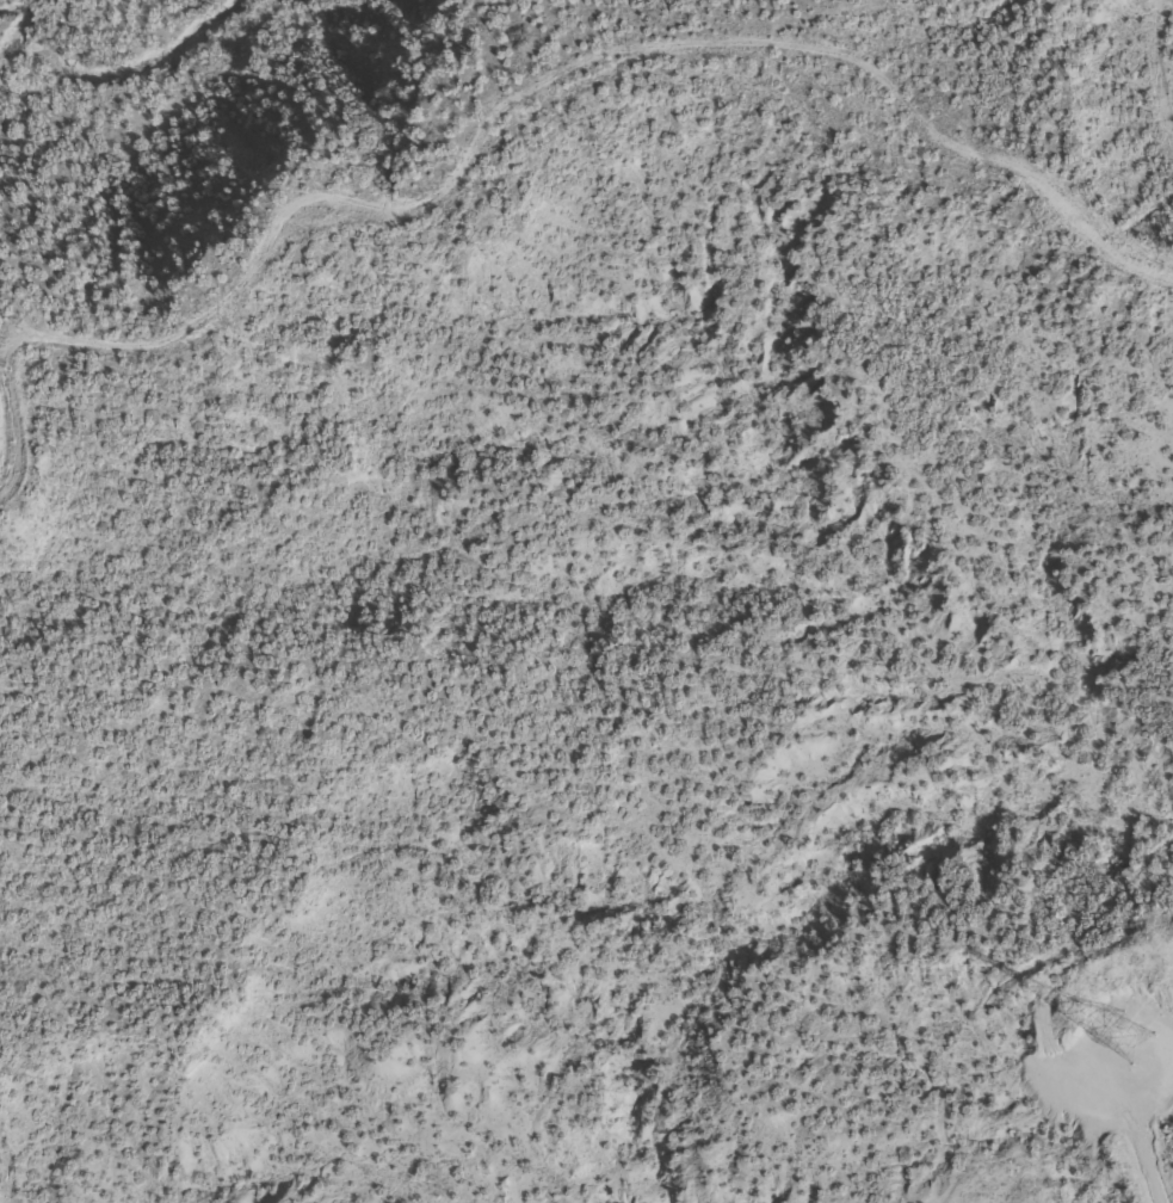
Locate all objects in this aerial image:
road: (564, 241)
power tower: (1123, 1037)

